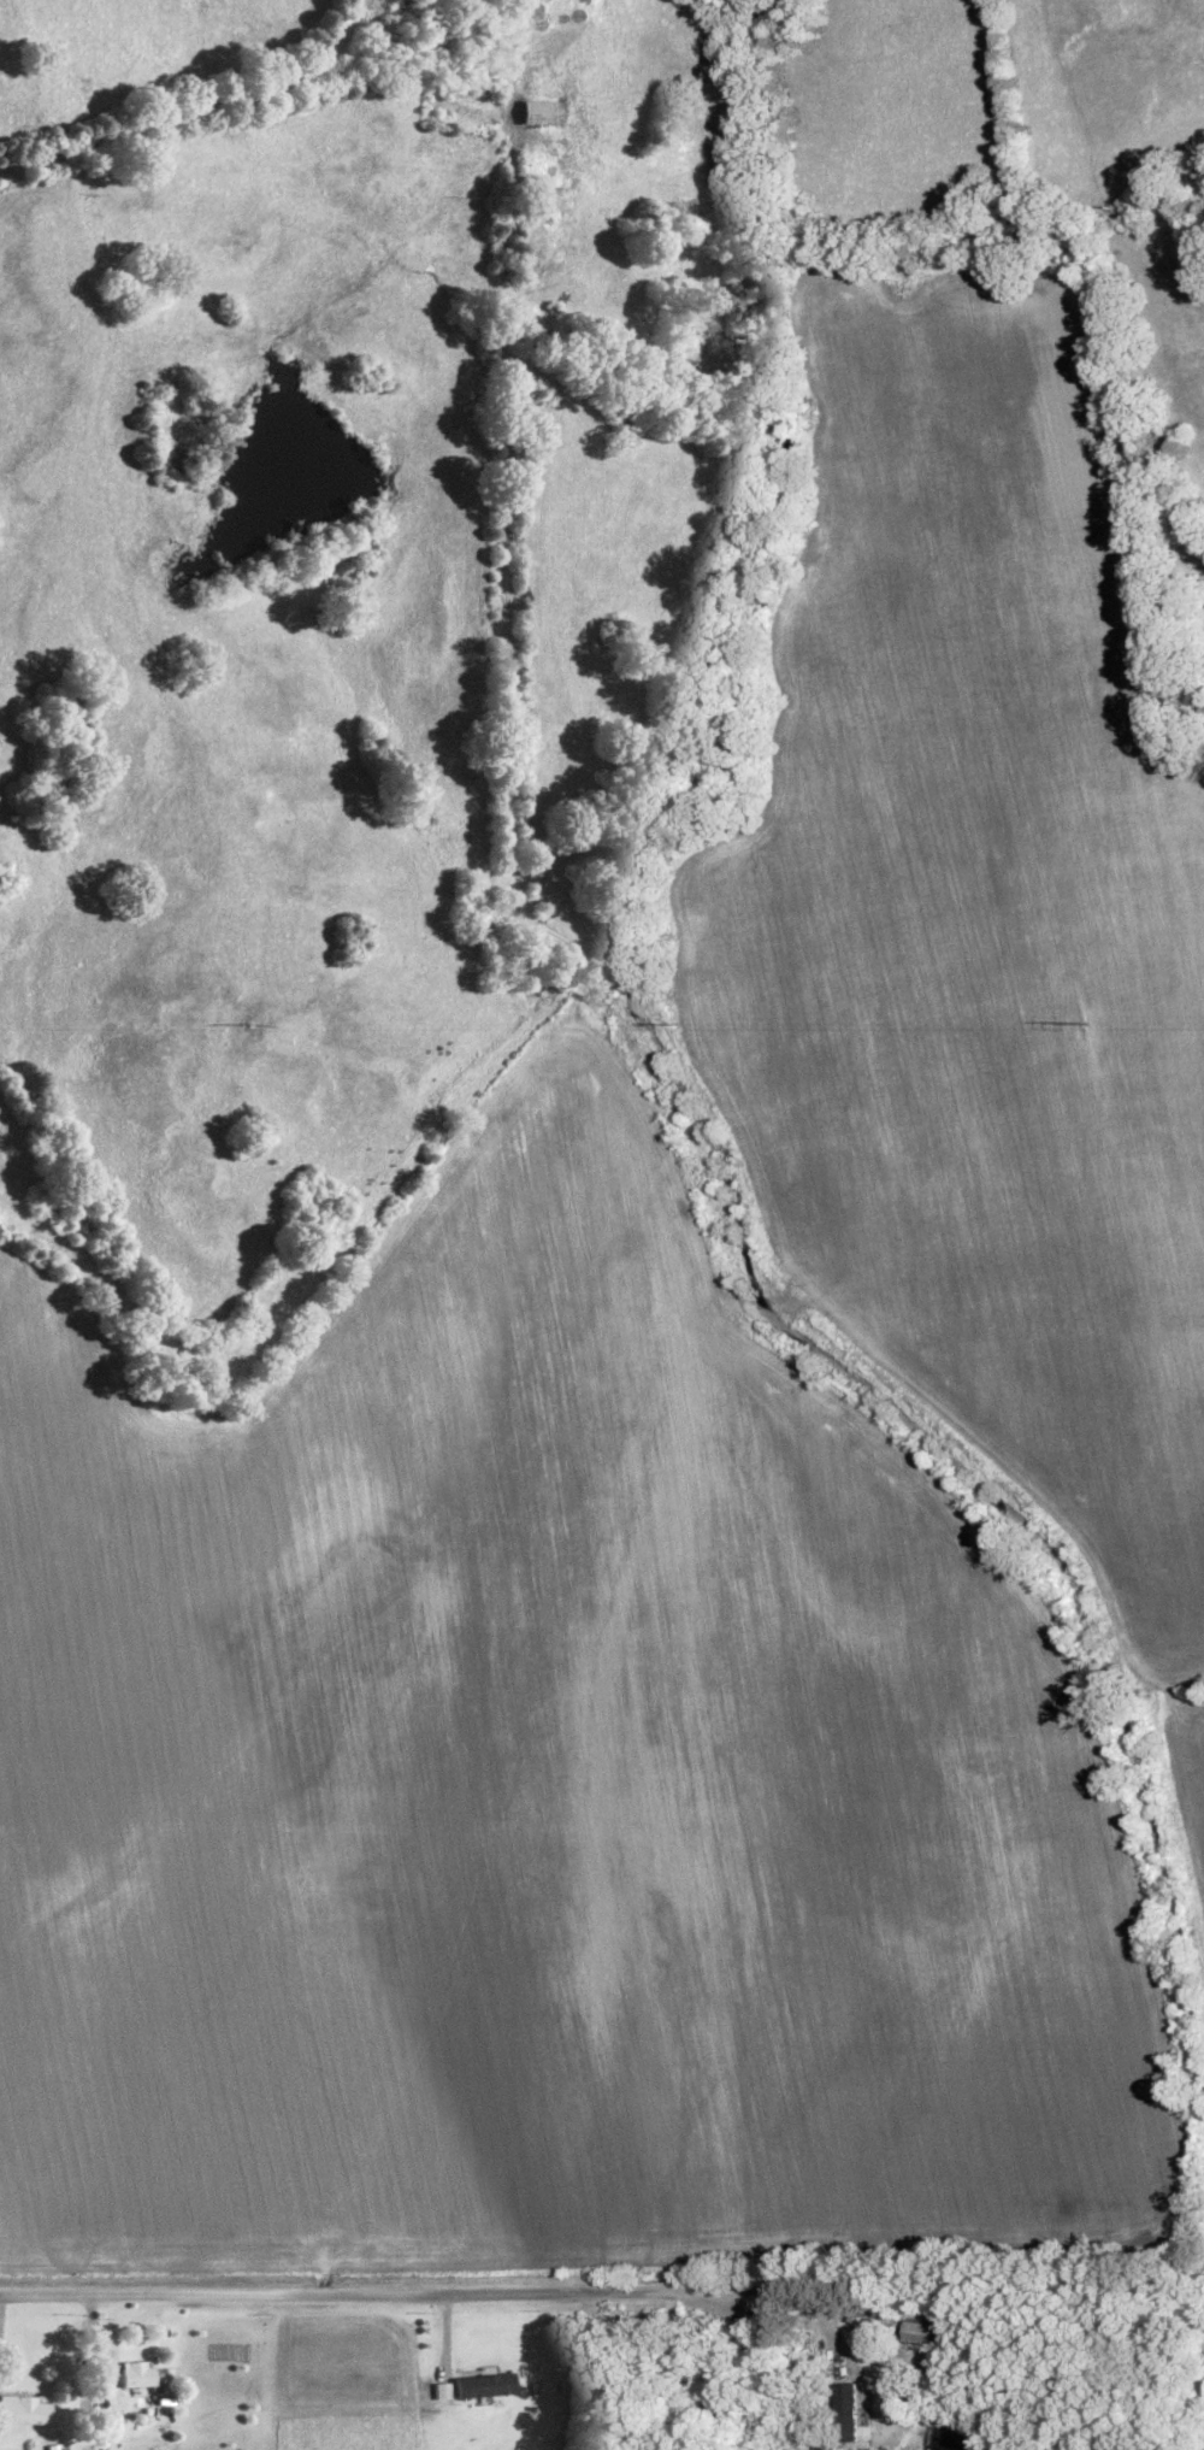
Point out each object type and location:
road: (195, 106)
building: (536, 110)
road: (385, 2290)
building: (921, 2330)
building: (136, 2372)
building: (483, 2383)
building: (22, 2409)
building: (848, 2409)

